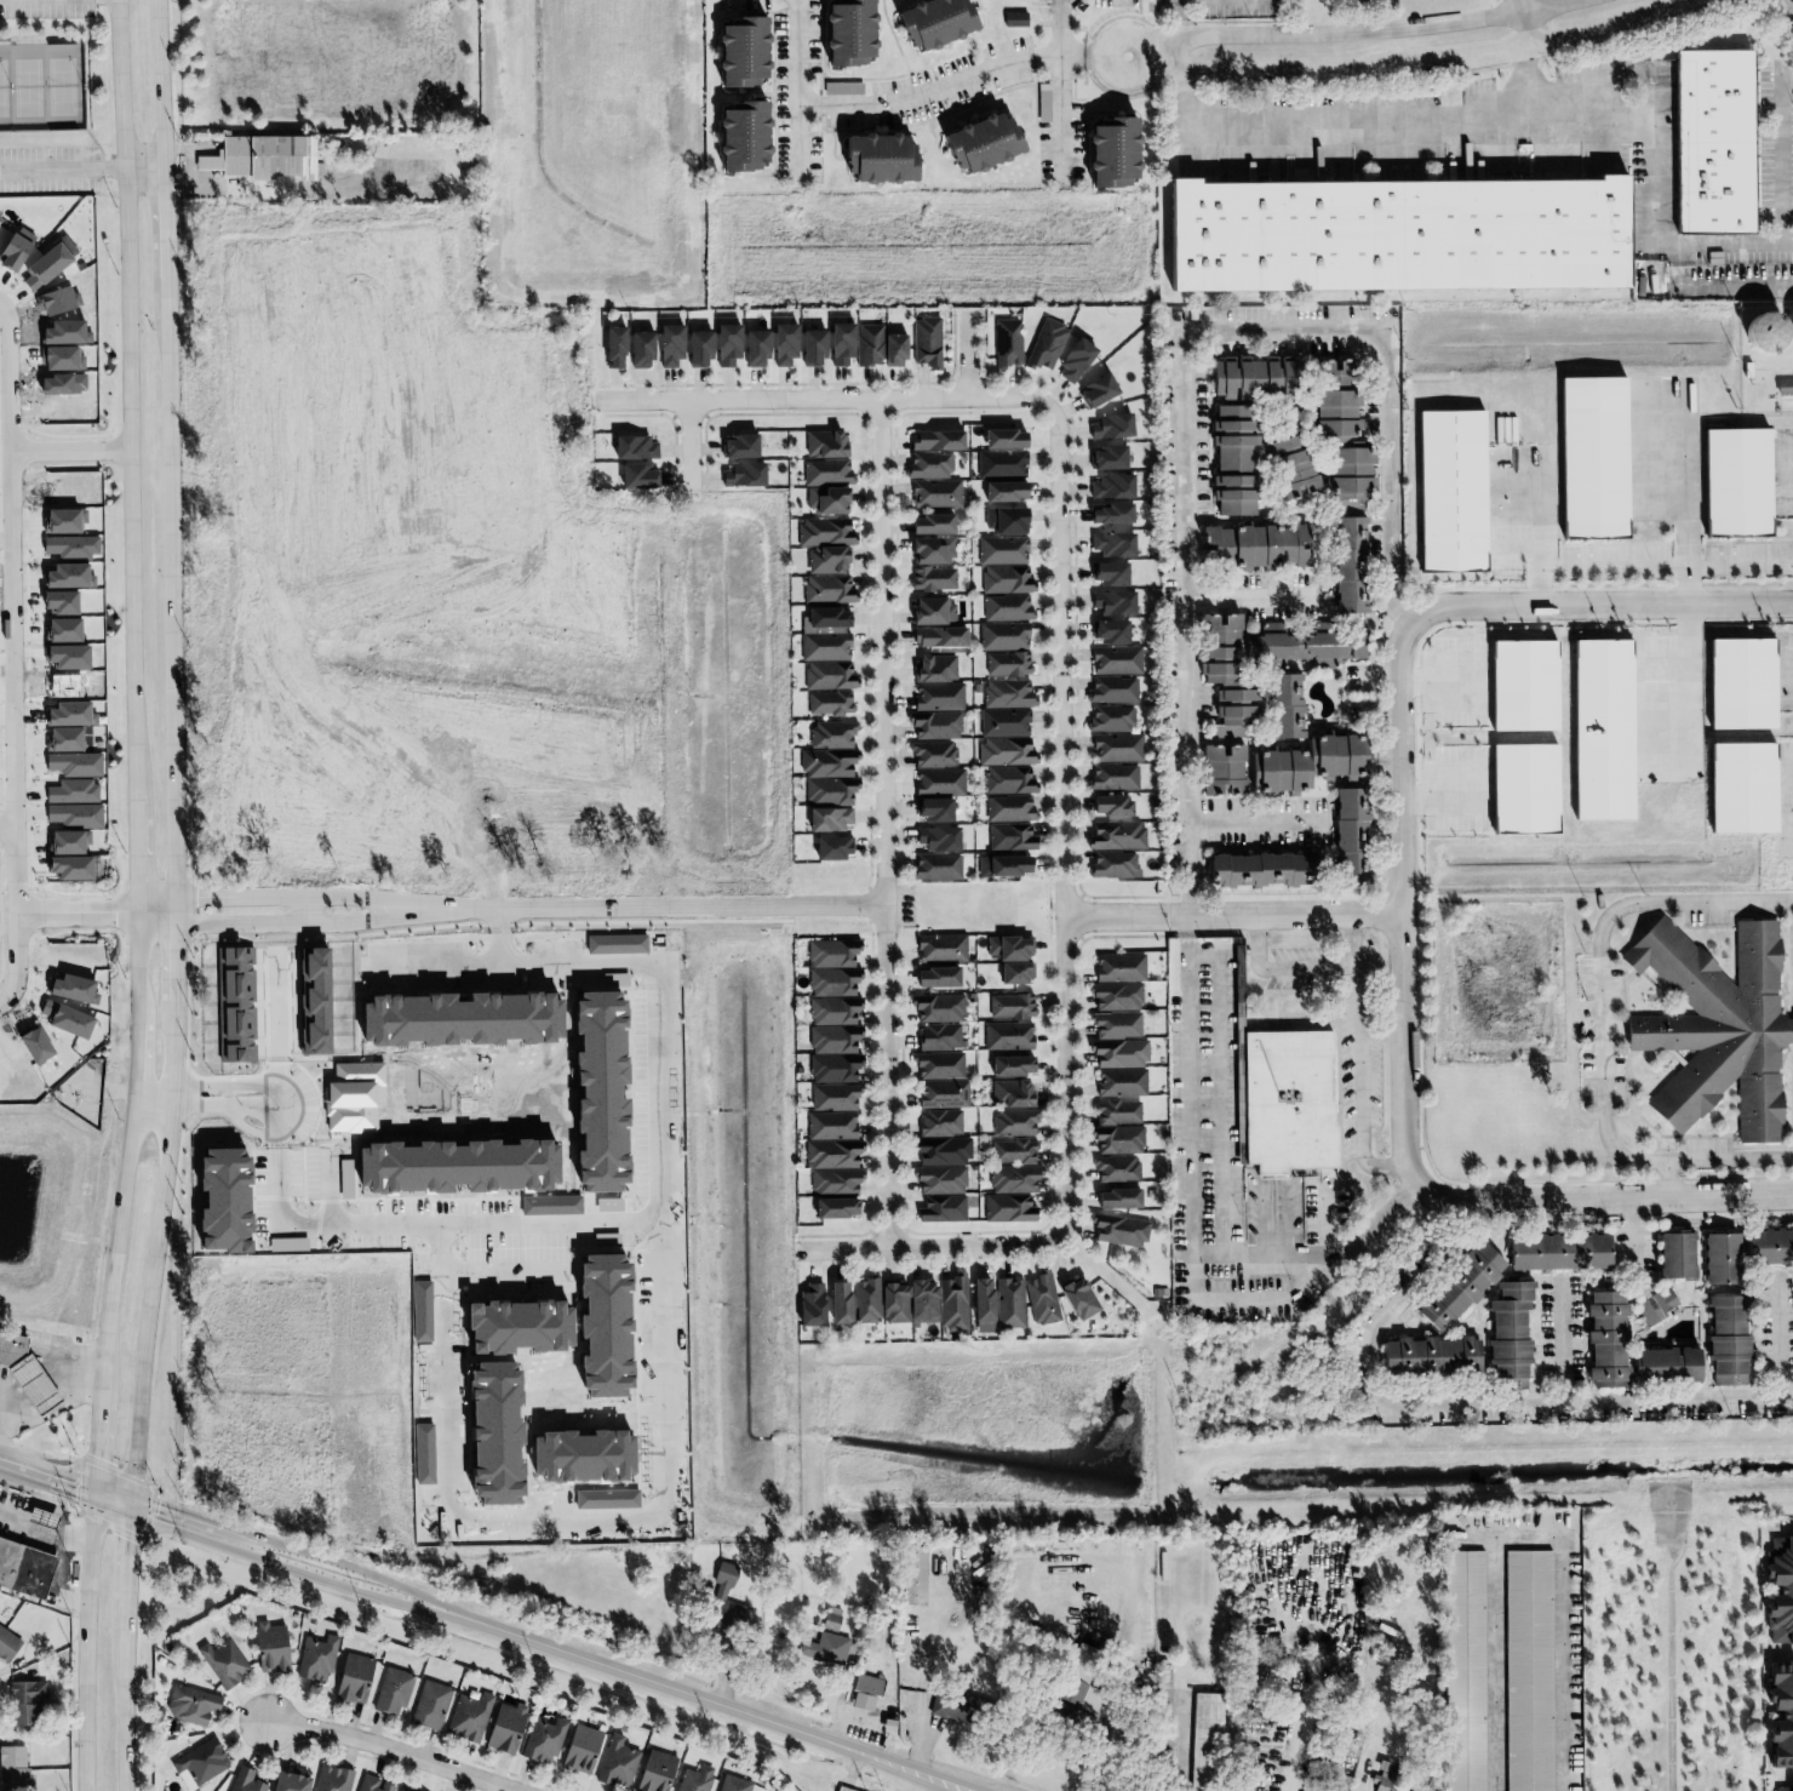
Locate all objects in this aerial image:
road: (1181, 17)
building: (1014, 19)
road: (1524, 23)
building: (930, 24)
road: (1056, 28)
road: (1354, 30)
building: (846, 33)
building: (739, 53)
road: (1093, 56)
road: (1170, 56)
road: (1421, 64)
road: (160, 74)
park: (63, 86)
park: (2, 87)
park: (28, 87)
road: (1526, 87)
building: (842, 88)
road: (792, 92)
road: (928, 92)
road: (1056, 116)
road: (1603, 126)
building: (739, 137)
building: (1717, 142)
building: (978, 145)
road: (144, 149)
road: (181, 149)
road: (201, 150)
building: (1109, 155)
road: (164, 158)
building: (258, 159)
building: (876, 161)
road: (204, 162)
road: (82, 168)
road: (205, 179)
road: (319, 185)
road: (184, 189)
road: (165, 222)
building: (1402, 236)
road: (1788, 244)
building: (1771, 333)
building: (926, 342)
building: (1007, 343)
building: (781, 344)
building: (840, 344)
building: (869, 344)
building: (668, 345)
building: (724, 345)
building: (1044, 345)
building: (611, 347)
building: (697, 348)
building: (754, 348)
building: (810, 348)
building: (637, 349)
building: (893, 350)
road: (1388, 353)
road: (964, 354)
building: (1073, 361)
building: (1249, 377)
building: (1783, 387)
building: (1095, 390)
road: (815, 397)
building: (1109, 427)
building: (1339, 429)
building: (1002, 439)
building: (934, 440)
road: (687, 441)
building: (826, 444)
building: (738, 446)
building: (631, 447)
road: (70, 451)
building: (1105, 457)
building: (1598, 457)
building: (1231, 459)
building: (999, 464)
building: (929, 465)
building: (1288, 467)
building: (826, 473)
building: (743, 474)
building: (635, 475)
building: (1741, 482)
building: (1110, 486)
building: (1003, 491)
building: (935, 493)
building: (1456, 493)
building: (826, 500)
building: (1109, 514)
building: (1006, 521)
building: (929, 523)
building: (825, 532)
building: (1110, 544)
building: (1256, 545)
building: (932, 550)
building: (1002, 550)
building: (826, 560)
building: (1346, 565)
road: (1722, 566)
road: (1593, 567)
building: (1107, 573)
building: (932, 579)
building: (1006, 579)
road: (171, 586)
building: (826, 589)
road: (1251, 591)
road: (1191, 601)
building: (1112, 602)
road: (1393, 602)
road: (1599, 605)
building: (1006, 608)
building: (930, 611)
building: (826, 618)
building: (1107, 631)
building: (936, 636)
building: (824, 647)
building: (1004, 648)
road: (13, 653)
building: (1115, 659)
building: (934, 668)
building: (827, 675)
road: (132, 676)
road: (1689, 682)
building: (1522, 685)
building: (1743, 685)
building: (1111, 689)
building: (1007, 693)
building: (829, 703)
building: (935, 711)
building: (63, 714)
building: (1110, 719)
building: (1003, 722)
building: (1600, 729)
building: (61, 739)
building: (1116, 748)
building: (829, 751)
building: (1006, 751)
building: (932, 754)
building: (1304, 762)
building: (73, 765)
building: (1112, 777)
building: (1008, 779)
building: (938, 782)
building: (1522, 789)
building: (1743, 789)
building: (829, 790)
building: (70, 791)
building: (1110, 806)
building: (1009, 808)
building: (932, 809)
road: (1062, 813)
building: (71, 816)
road: (1256, 818)
building: (827, 819)
road: (878, 823)
road: (7, 828)
building: (1117, 836)
building: (1345, 836)
building: (1010, 837)
building: (936, 839)
building: (65, 842)
building: (831, 847)
building: (1113, 864)
building: (1003, 865)
building: (935, 866)
building: (67, 868)
building: (1258, 869)
road: (311, 895)
road: (1400, 903)
road: (156, 905)
road: (1193, 905)
road: (663, 906)
road: (305, 909)
road: (177, 910)
road: (76, 914)
road: (1233, 915)
road: (156, 919)
road: (311, 921)
building: (940, 948)
building: (1008, 949)
building: (831, 954)
road: (177, 966)
building: (1118, 967)
road: (1279, 969)
building: (1014, 973)
building: (934, 977)
building: (832, 983)
road: (1604, 988)
building: (70, 990)
building: (1115, 996)
road: (2, 1003)
building: (1010, 1006)
building: (936, 1007)
building: (832, 1011)
building: (63, 1020)
building: (1715, 1026)
road: (176, 1034)
building: (1007, 1036)
building: (938, 1037)
building: (832, 1040)
building: (1118, 1040)
building: (31, 1045)
road: (1358, 1059)
building: (938, 1065)
building: (1010, 1066)
building: (834, 1068)
building: (1119, 1082)
building: (941, 1094)
building: (1012, 1094)
building: (834, 1097)
building: (1284, 1102)
building: (1117, 1112)
building: (939, 1122)
building: (1014, 1122)
building: (1117, 1140)
building: (1013, 1151)
building: (831, 1154)
road: (1731, 1160)
building: (940, 1165)
building: (1116, 1169)
building: (1013, 1179)
building: (834, 1181)
building: (1116, 1198)
road: (1192, 1198)
road: (1602, 1198)
building: (834, 1208)
building: (1007, 1208)
building: (941, 1209)
road: (1381, 1213)
road: (558, 1220)
building: (1117, 1230)
road: (1642, 1234)
building: (1768, 1247)
road: (932, 1248)
building: (1557, 1252)
road: (1273, 1255)
building: (1674, 1255)
building: (1718, 1259)
road: (153, 1277)
building: (1457, 1287)
building: (1041, 1298)
building: (1077, 1299)
building: (893, 1301)
building: (951, 1303)
building: (837, 1304)
building: (1008, 1304)
building: (980, 1305)
building: (1655, 1305)
building: (809, 1306)
road: (1787, 1334)
building: (1604, 1340)
building: (1726, 1340)
road: (1564, 1344)
building: (12, 1349)
building: (1467, 1349)
building: (1665, 1364)
road: (74, 1374)
road: (30, 1379)
building: (34, 1385)
gas station: (34, 1385)
road: (7, 1392)
road: (1465, 1407)
road: (99, 1426)
traffic signals: (98, 1457)
road: (48, 1466)
road: (67, 1493)
traffic signals: (74, 1497)
traffic signals: (161, 1505)
road: (182, 1511)
building: (44, 1517)
gas station: (44, 1517)
road: (558, 1517)
road: (46, 1529)
road: (1529, 1539)
traffic signals: (132, 1540)
road: (130, 1562)
building: (25, 1569)
building: (723, 1575)
building: (912, 1575)
road: (308, 1577)
road: (378, 1579)
building: (1780, 1591)
building: (831, 1621)
building: (6, 1646)
road: (86, 1647)
building: (268, 1648)
building: (829, 1649)
building: (315, 1659)
building: (222, 1664)
road: (928, 1665)
building: (1462, 1671)
building: (1526, 1671)
building: (351, 1678)
building: (1079, 1683)
building: (391, 1692)
building: (865, 1692)
road: (698, 1700)
road: (1119, 1700)
building: (24, 1703)
building: (189, 1705)
building: (430, 1706)
building: (957, 1707)
road: (125, 1710)
building: (1780, 1716)
building: (468, 1717)
building: (504, 1729)
road: (1304, 1734)
building: (1202, 1739)
building: (543, 1740)
road: (391, 1749)
building: (580, 1749)
building: (197, 1764)
building: (617, 1764)
building: (12, 1769)
building: (653, 1772)
building: (1382, 1776)
building: (331, 1779)
building: (694, 1779)
building: (244, 1781)
building: (286, 1783)
road: (935, 1783)
building: (371, 1784)
building: (732, 1784)
building: (1782, 1789)
building: (400, 1790)
building: (1398, 1790)

